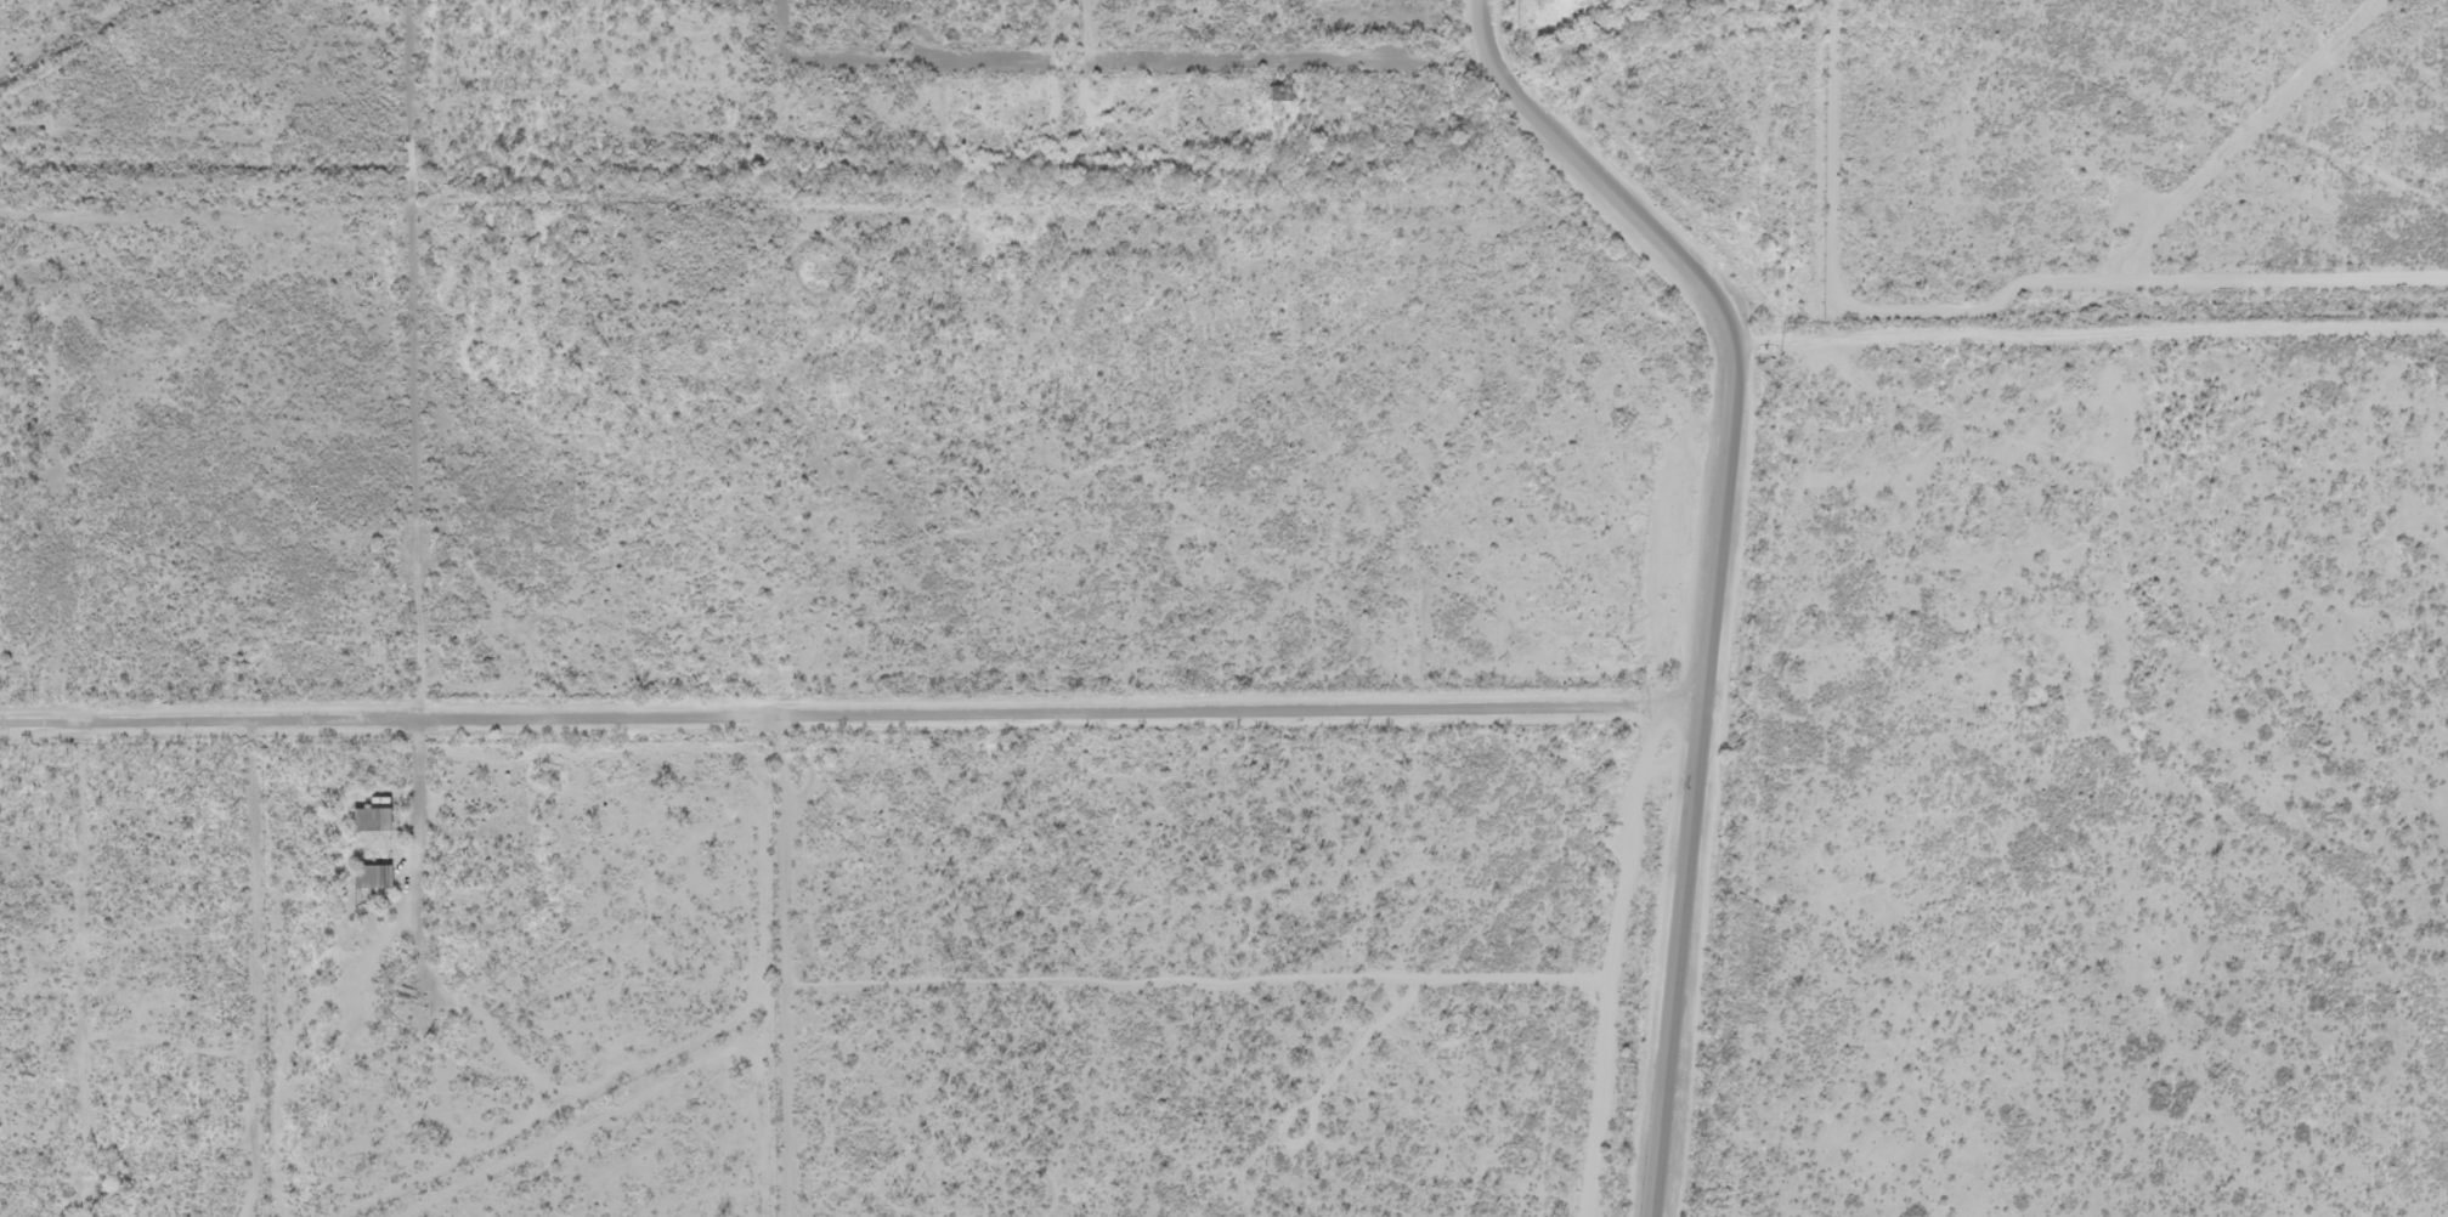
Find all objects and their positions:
airport: (2136, 153)
road: (415, 357)
road: (1717, 561)
road: (852, 707)
building: (363, 822)
building: (364, 879)
road: (70, 968)
road: (267, 968)
road: (36, 1032)

